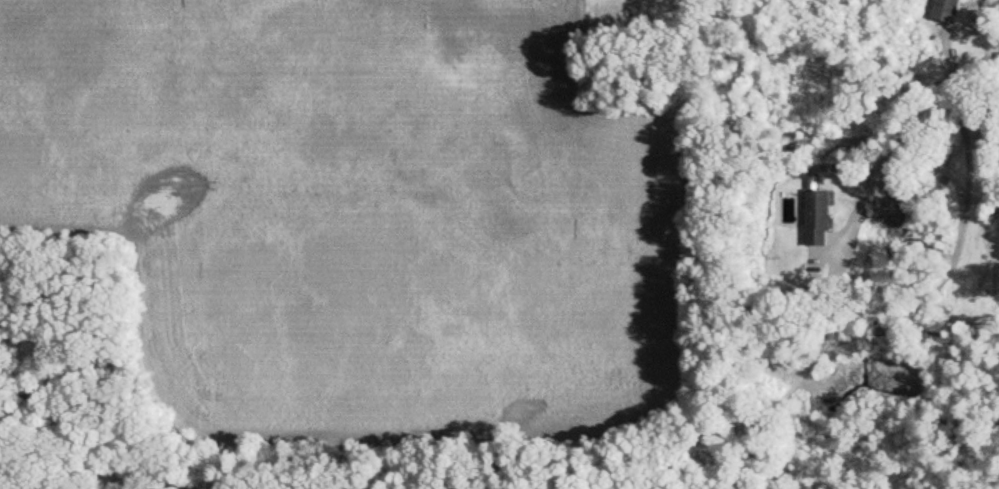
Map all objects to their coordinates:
road: (894, 137)
building: (812, 218)

